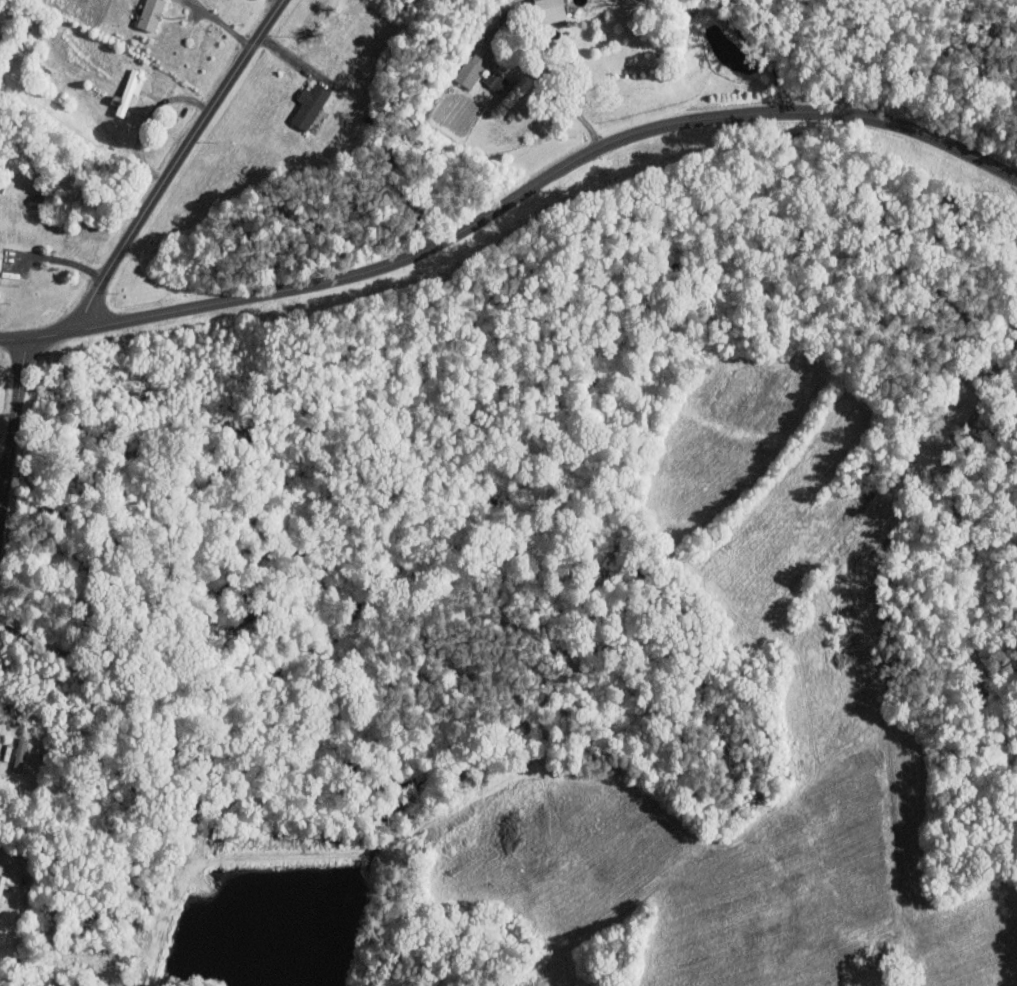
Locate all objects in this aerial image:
building: (548, 10)
building: (149, 14)
road: (222, 22)
road: (514, 60)
building: (472, 66)
building: (497, 82)
building: (308, 105)
road: (145, 117)
road: (176, 161)
road: (512, 197)
road: (61, 260)
road: (13, 422)
road: (1, 479)

